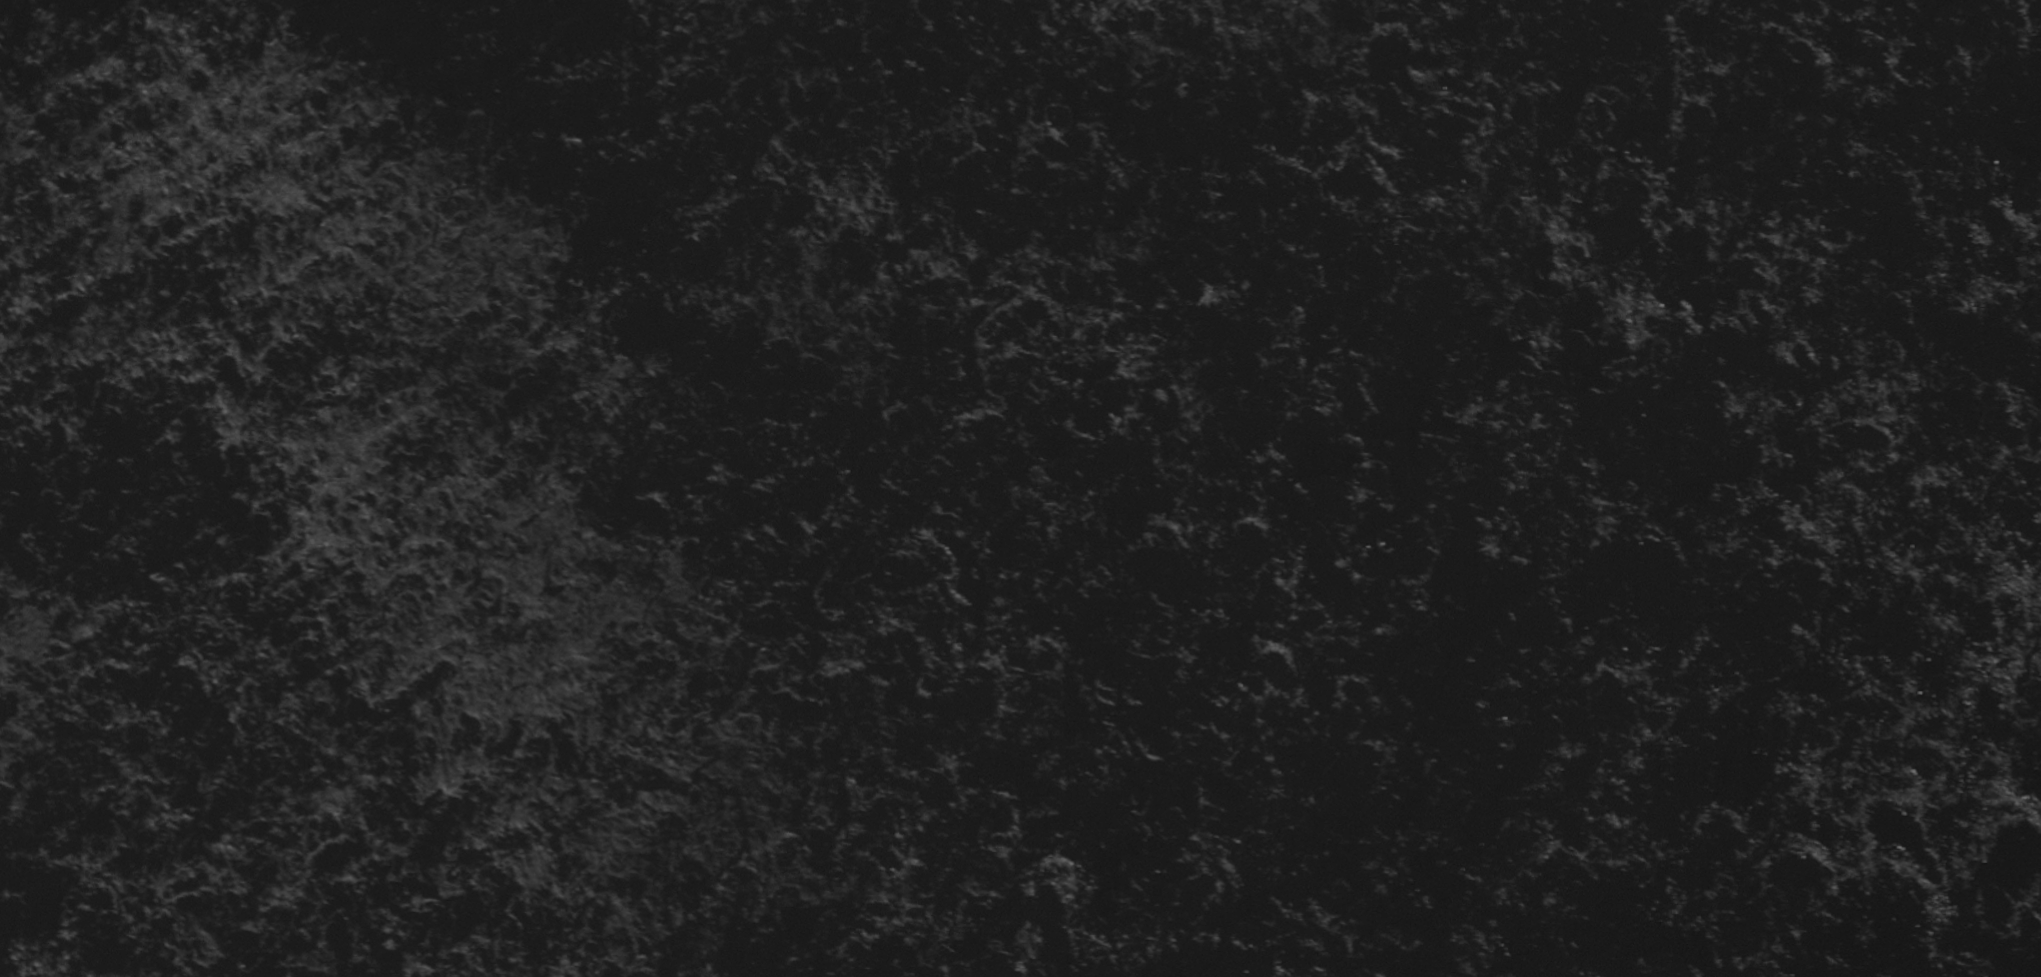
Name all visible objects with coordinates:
river: (1734, 602)

